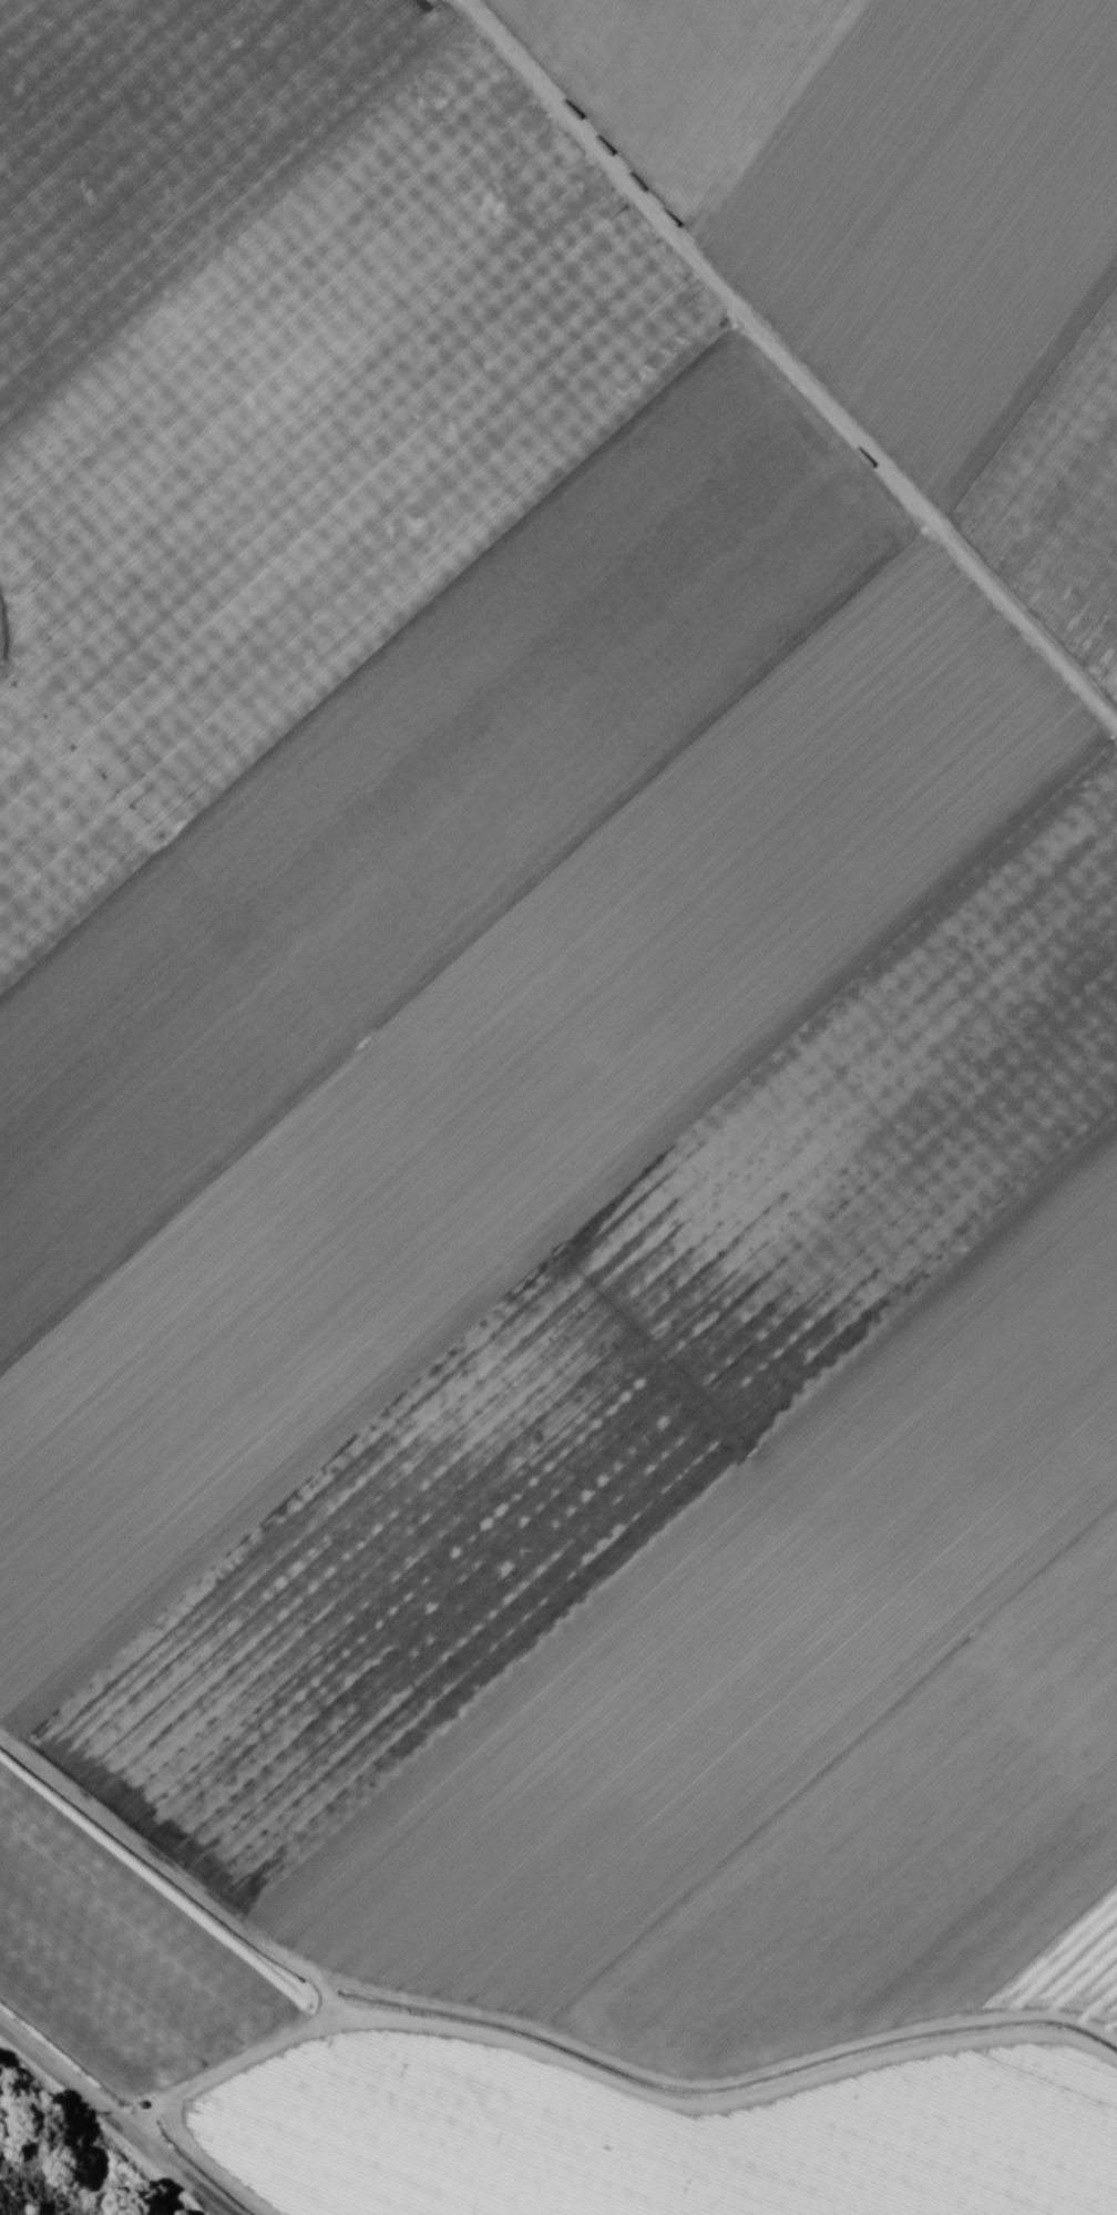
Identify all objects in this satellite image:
road: (782, 357)
road: (112, 2116)

